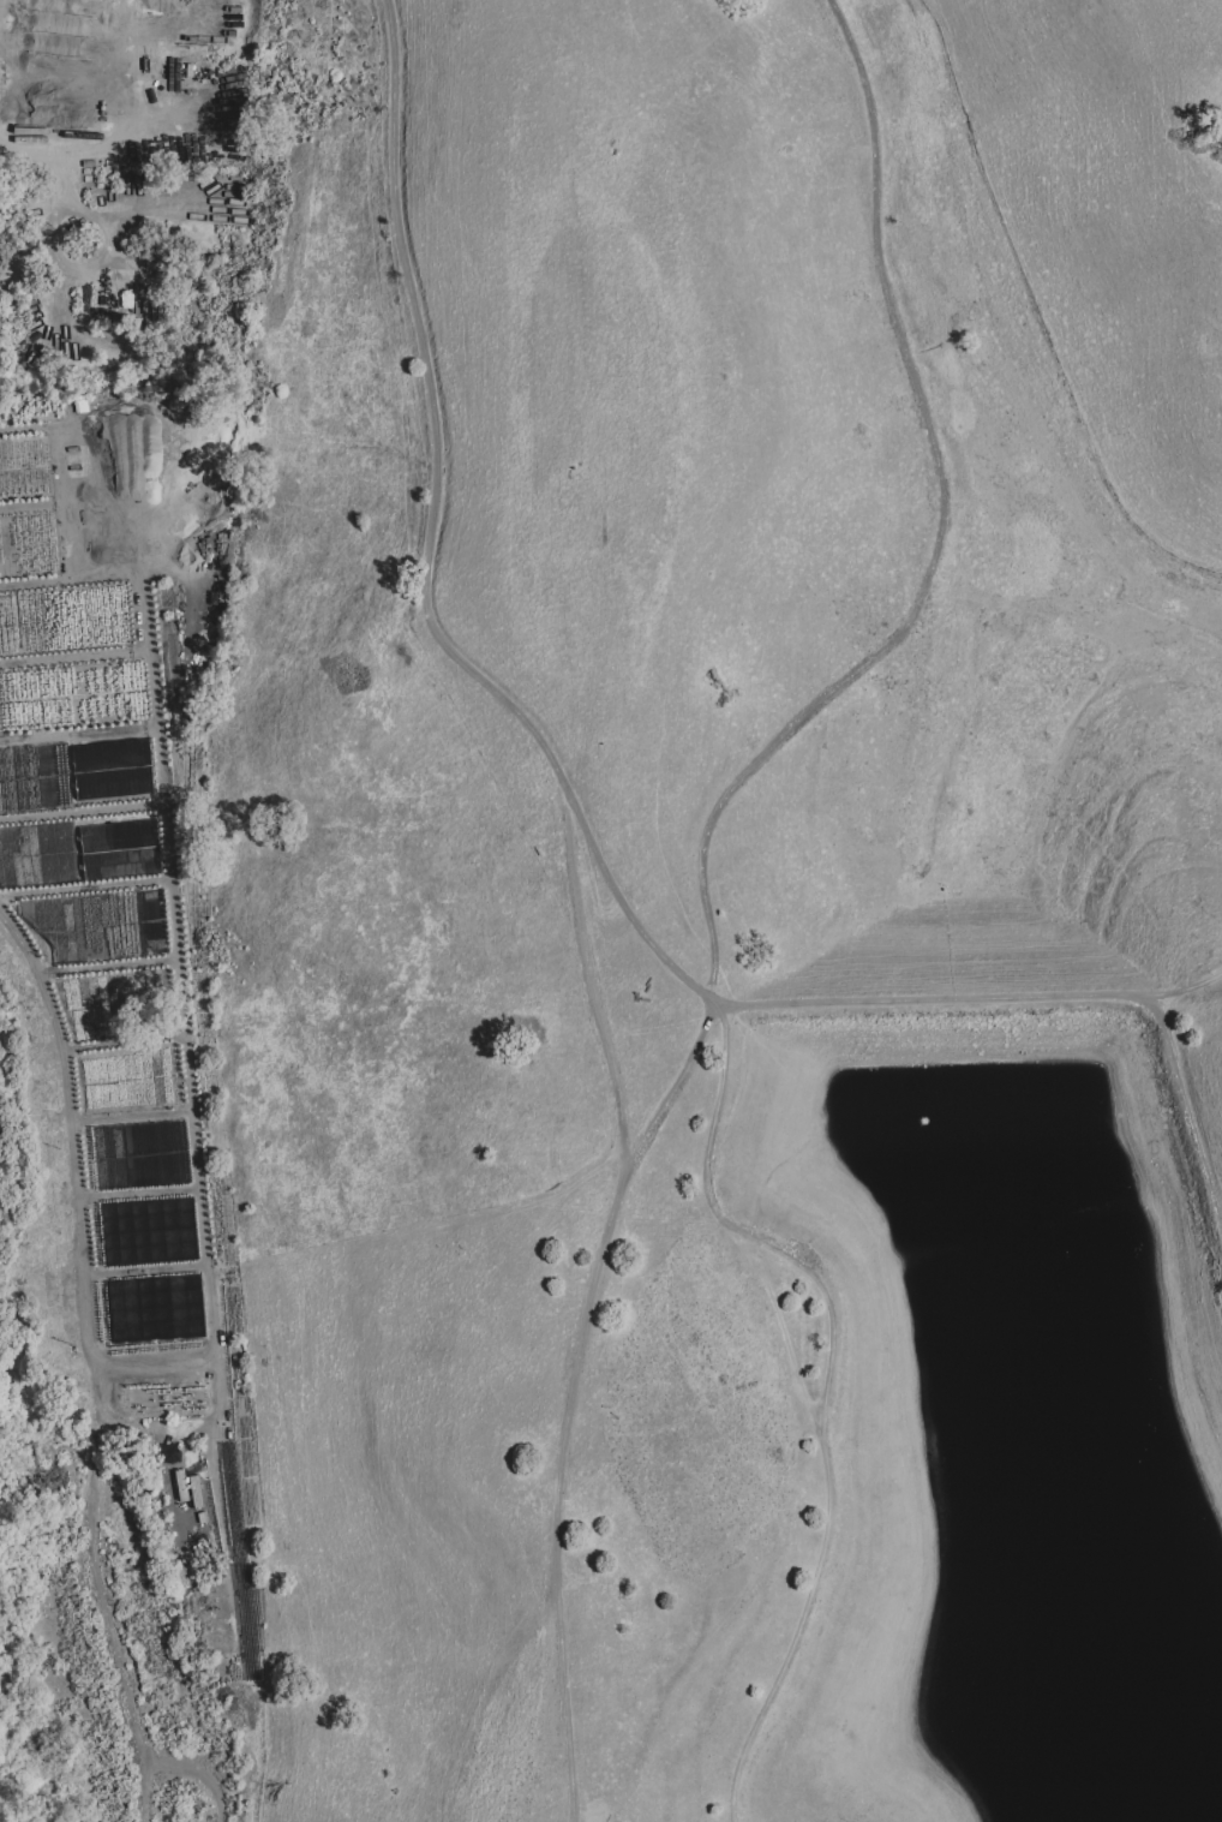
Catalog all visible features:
road: (1, 13)
road: (131, 136)
building: (125, 399)
building: (150, 399)
building: (168, 399)
road: (568, 400)
building: (126, 406)
road: (1060, 596)
road: (174, 931)
dam: (953, 968)
road: (588, 972)
road: (1187, 984)
road: (965, 1003)
road: (714, 1006)
crop: (120, 1129)
road: (240, 1260)
building: (41, 1294)
road: (193, 1362)
road: (827, 1391)
road: (95, 1549)
road: (563, 1557)
building: (86, 1657)
road: (199, 1774)

